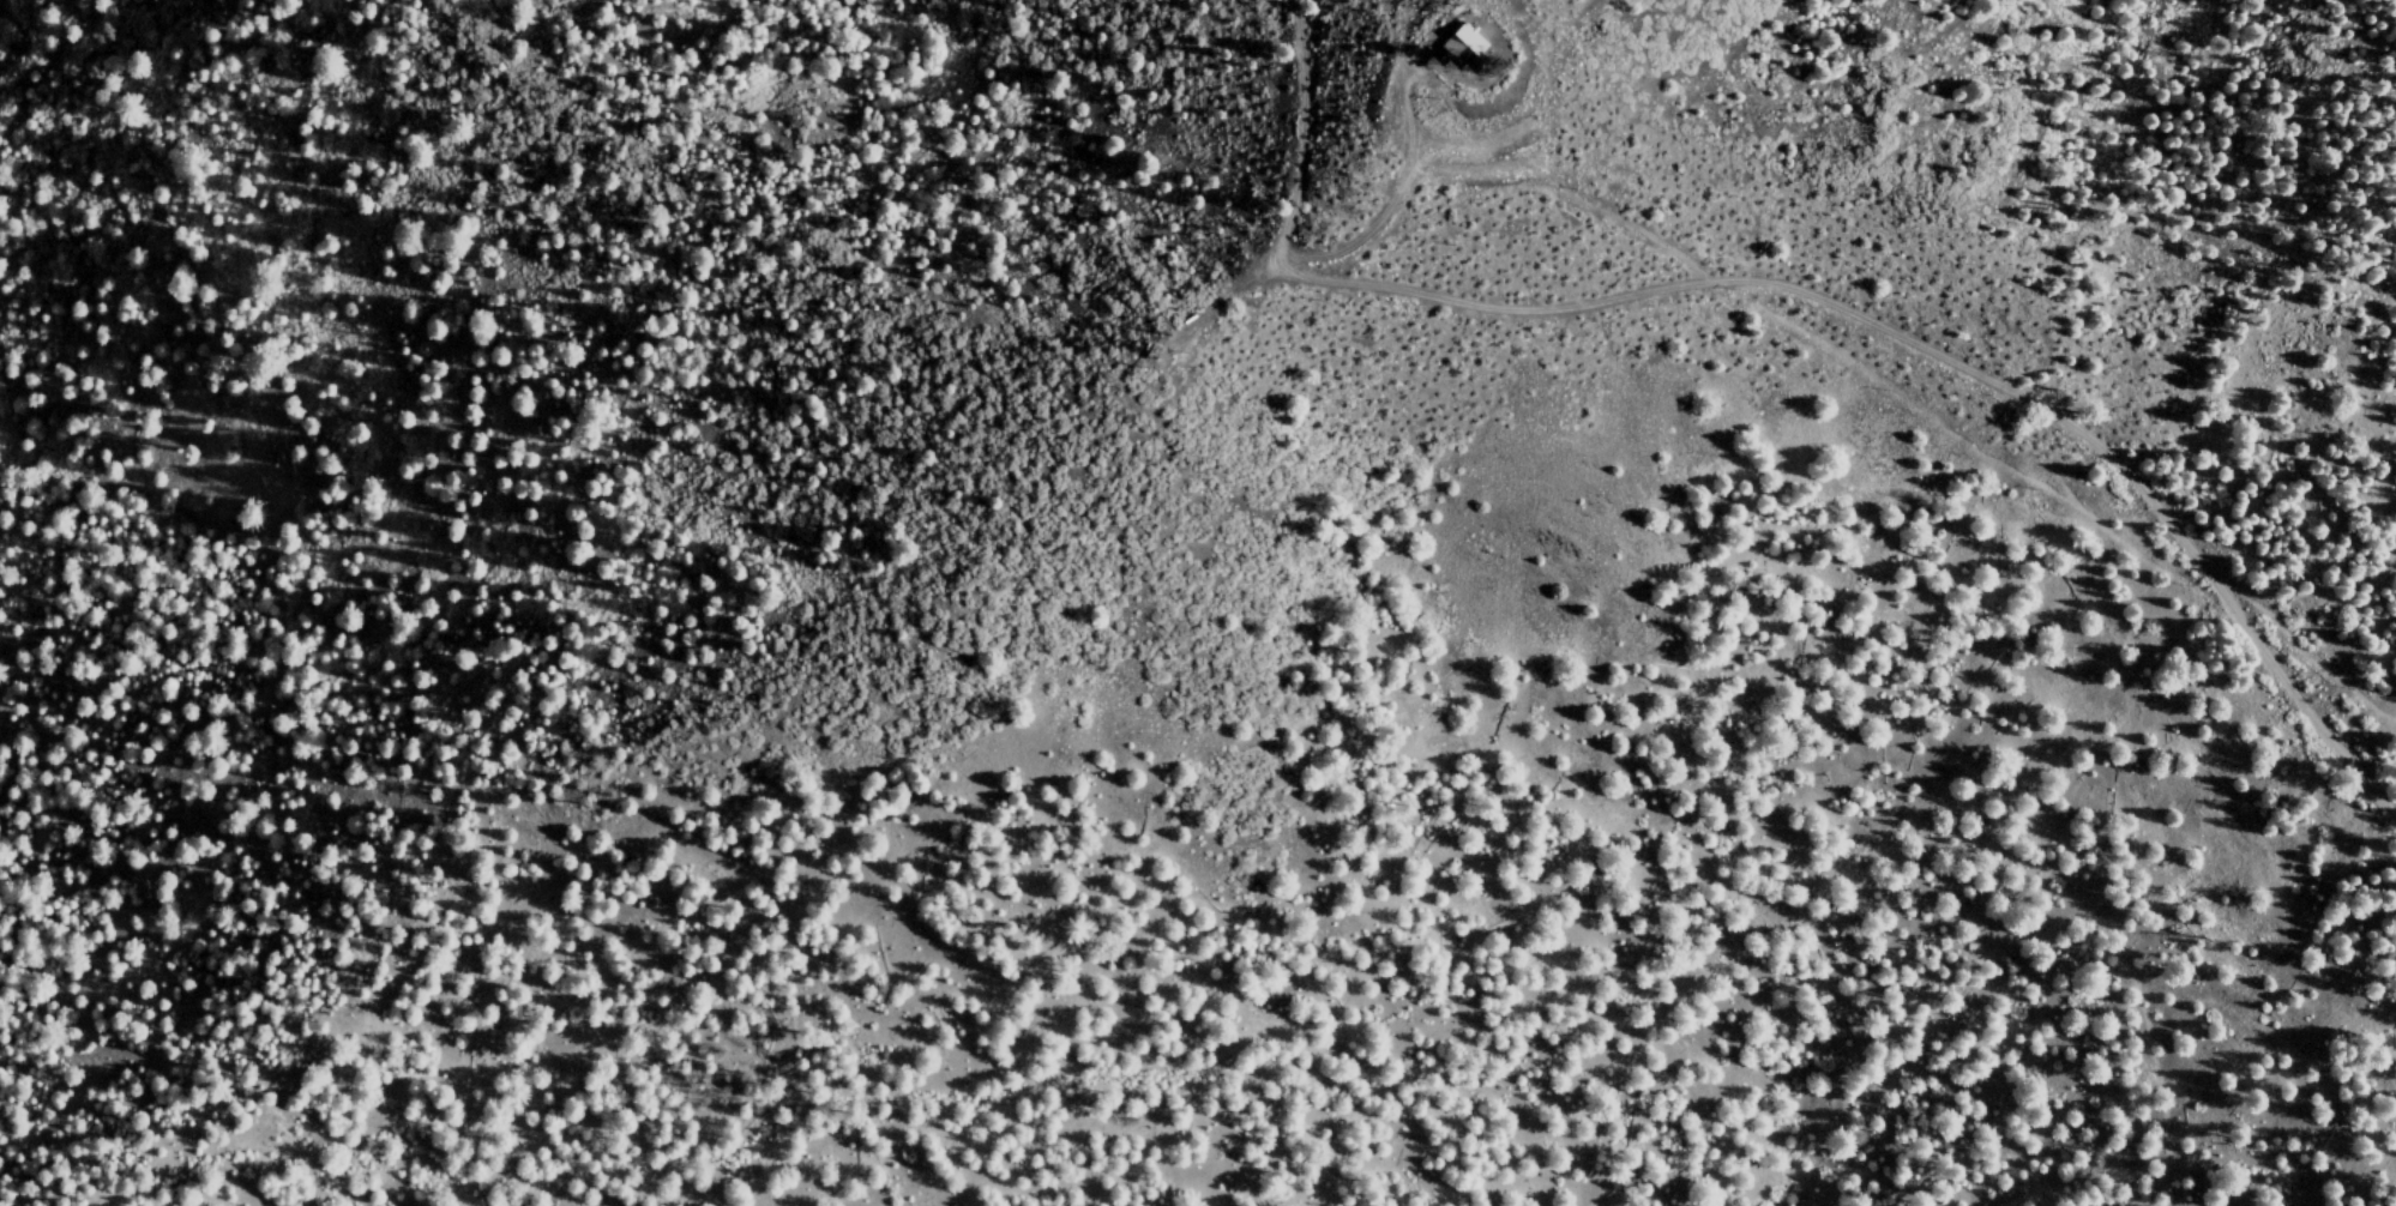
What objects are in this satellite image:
building: (1463, 40)
road: (1392, 191)
road: (1802, 294)

